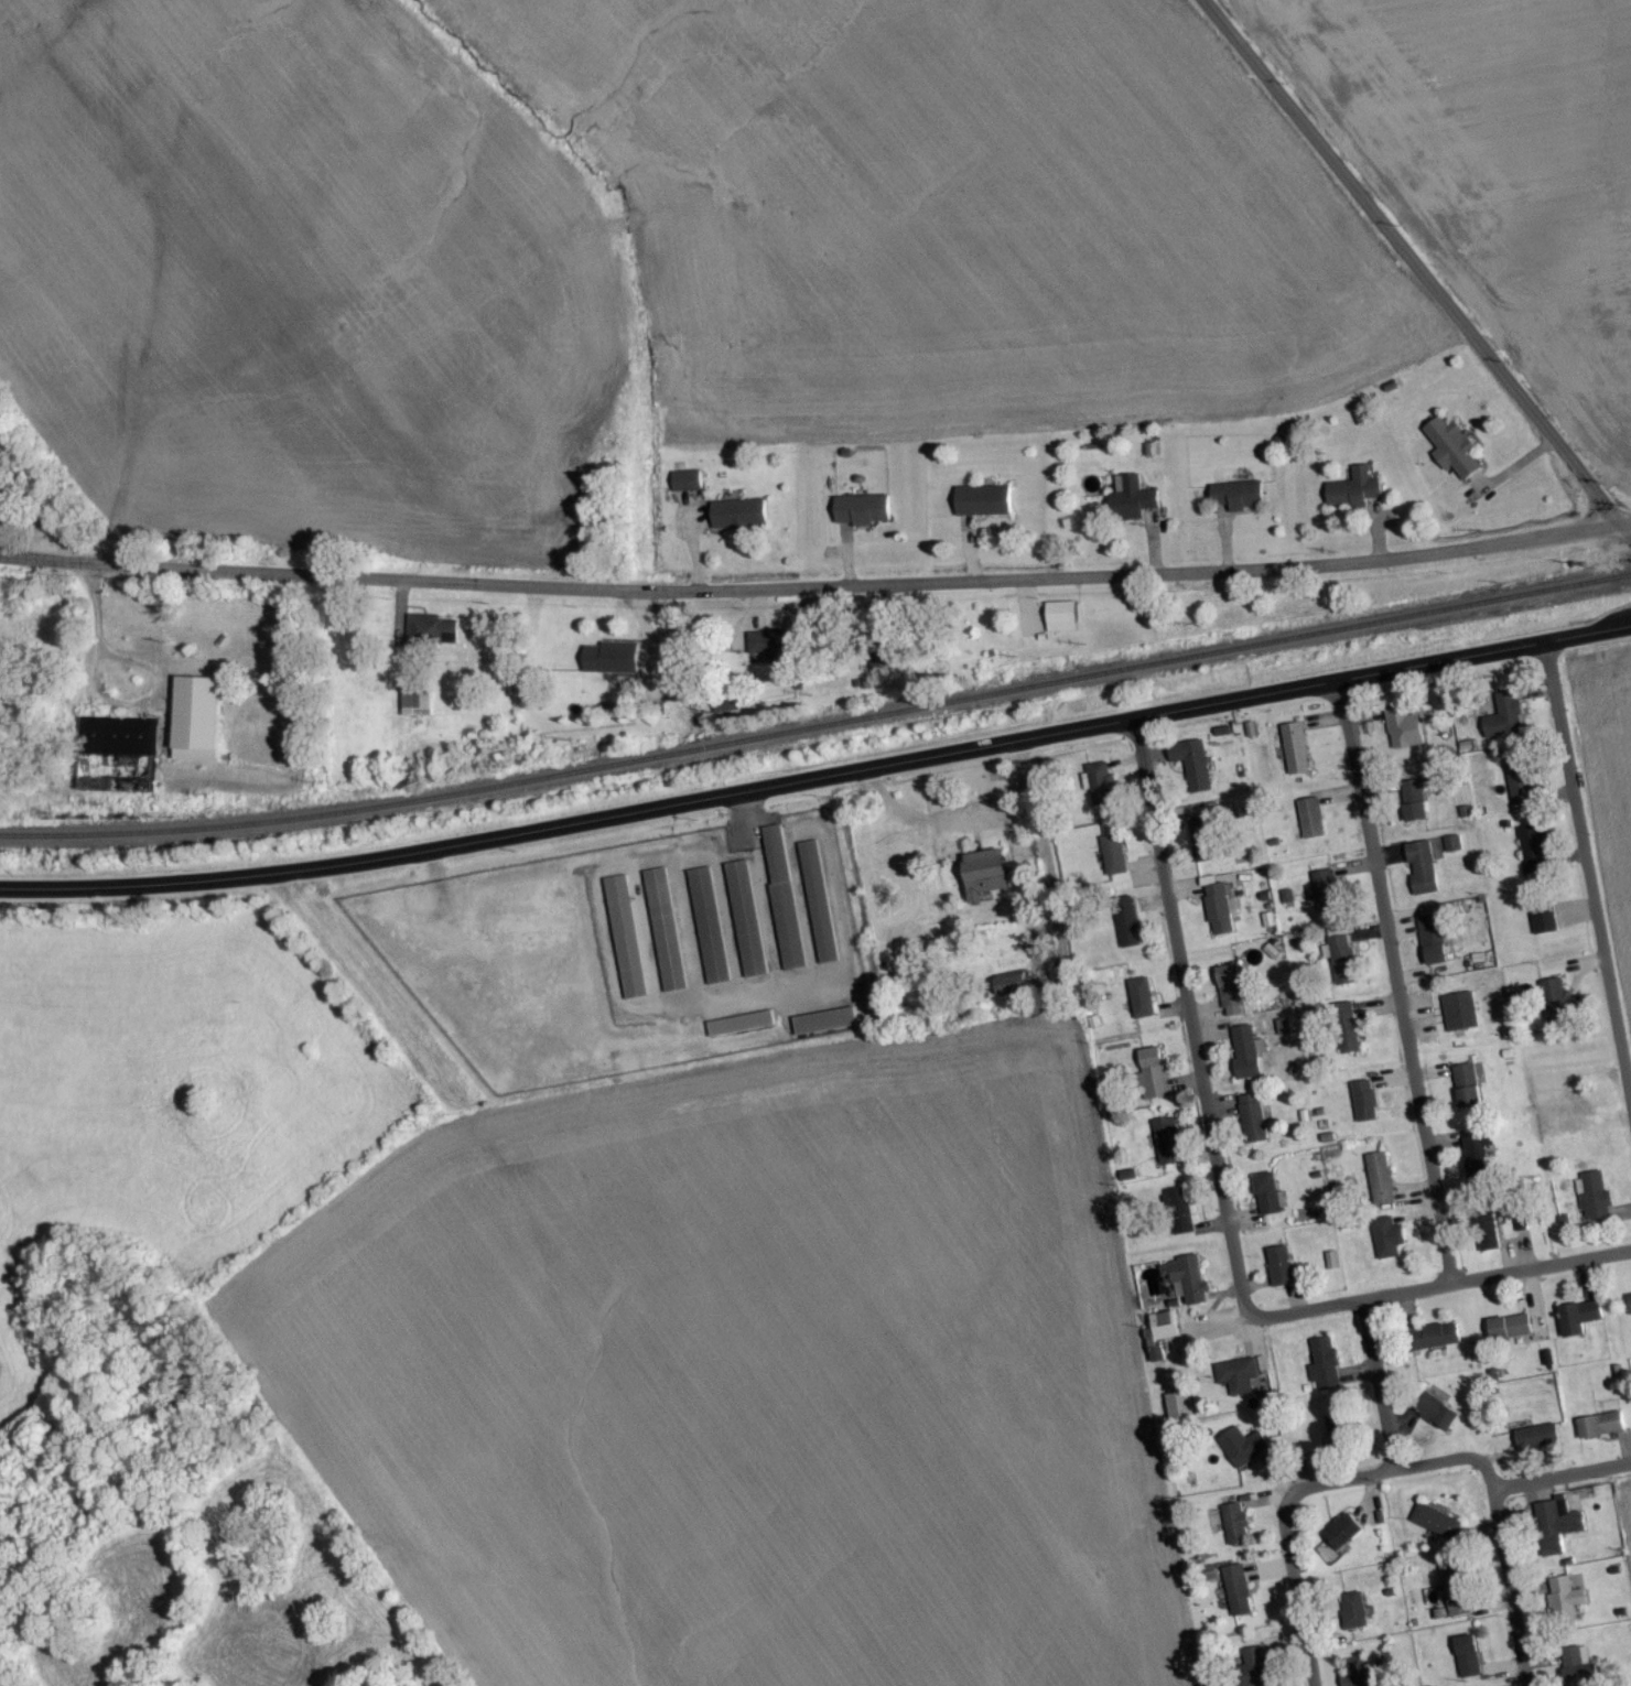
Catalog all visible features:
road: (1329, 161)
road: (1535, 425)
building: (1454, 453)
building: (687, 488)
building: (1354, 496)
building: (1238, 501)
building: (1134, 505)
building: (982, 506)
road: (41, 512)
building: (862, 516)
building: (737, 521)
road: (1622, 526)
road: (1622, 537)
road: (808, 595)
building: (1061, 623)
building: (432, 635)
building: (609, 664)
building: (417, 707)
building: (1503, 723)
building: (195, 725)
railway: (818, 732)
building: (1403, 736)
building: (1295, 755)
building: (1192, 775)
road: (818, 783)
building: (1519, 787)
building: (1102, 791)
building: (1413, 807)
building: (1309, 822)
road: (959, 823)
building: (1202, 845)
building: (1534, 854)
building: (1113, 862)
road: (1050, 863)
building: (1422, 874)
road: (1588, 875)
building: (984, 880)
building: (1325, 896)
building: (782, 904)
building: (818, 908)
building: (1218, 914)
building: (746, 925)
building: (1544, 926)
building: (709, 932)
building: (666, 936)
building: (1128, 937)
building: (1434, 945)
building: (1342, 965)
road: (1394, 987)
building: (1230, 992)
building: (1012, 993)
building: (1141, 1004)
building: (1560, 1009)
building: (1459, 1018)
road: (1191, 1024)
building: (818, 1028)
building: (741, 1029)
building: (1346, 1036)
building: (1244, 1058)
building: (1153, 1080)
building: (1467, 1091)
building: (1363, 1106)
building: (1254, 1124)
building: (1167, 1147)
building: (1479, 1161)
building: (1380, 1184)
building: (1268, 1201)
building: (1594, 1202)
building: (1487, 1235)
building: (1387, 1244)
building: (1281, 1273)
building: (1187, 1286)
road: (1438, 1291)
building: (1629, 1306)
building: (1578, 1323)
road: (1218, 1328)
building: (1510, 1337)
building: (1160, 1338)
building: (1437, 1342)
building: (1324, 1370)
building: (1243, 1383)
road: (1376, 1392)
building: (1178, 1411)
building: (1435, 1418)
building: (1338, 1431)
building: (1600, 1431)
building: (1536, 1444)
building: (1243, 1452)
road: (1466, 1463)
building: (1435, 1527)
building: (1235, 1531)
building: (1556, 1533)
building: (1343, 1539)
road: (1512, 1591)
road: (1296, 1592)
building: (1456, 1597)
building: (1565, 1606)
building: (1239, 1607)
building: (1353, 1617)
building: (1468, 1663)
building: (1577, 1668)
building: (1254, 1669)
building: (1354, 1675)

